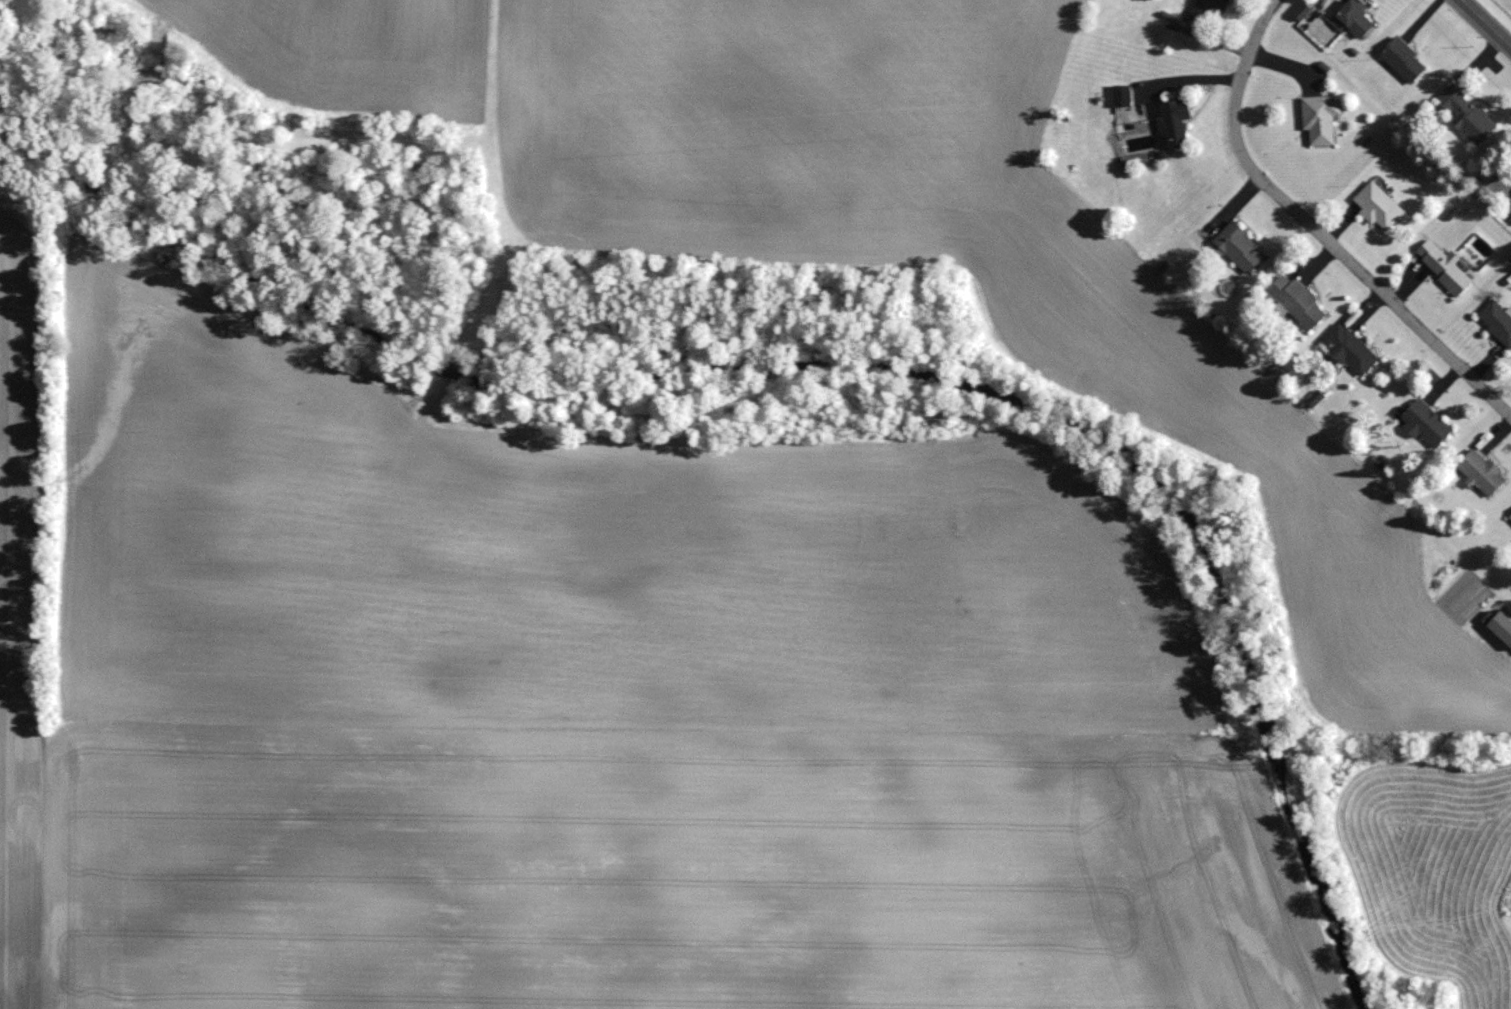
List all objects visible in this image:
road: (1483, 26)
road: (493, 119)
road: (1311, 234)
crop: (879, 235)
crop: (582, 698)
crop: (1431, 872)

